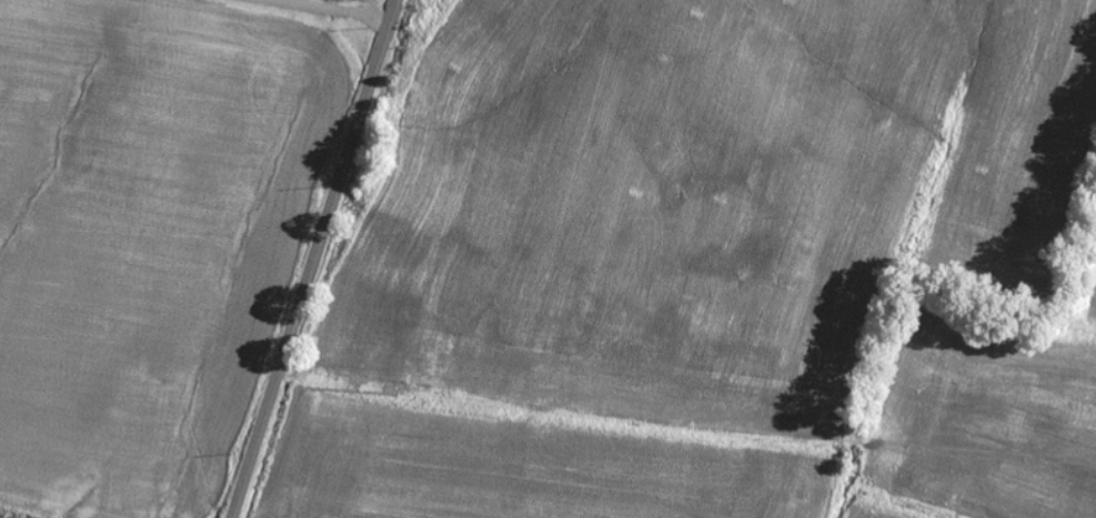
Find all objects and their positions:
road: (318, 258)

